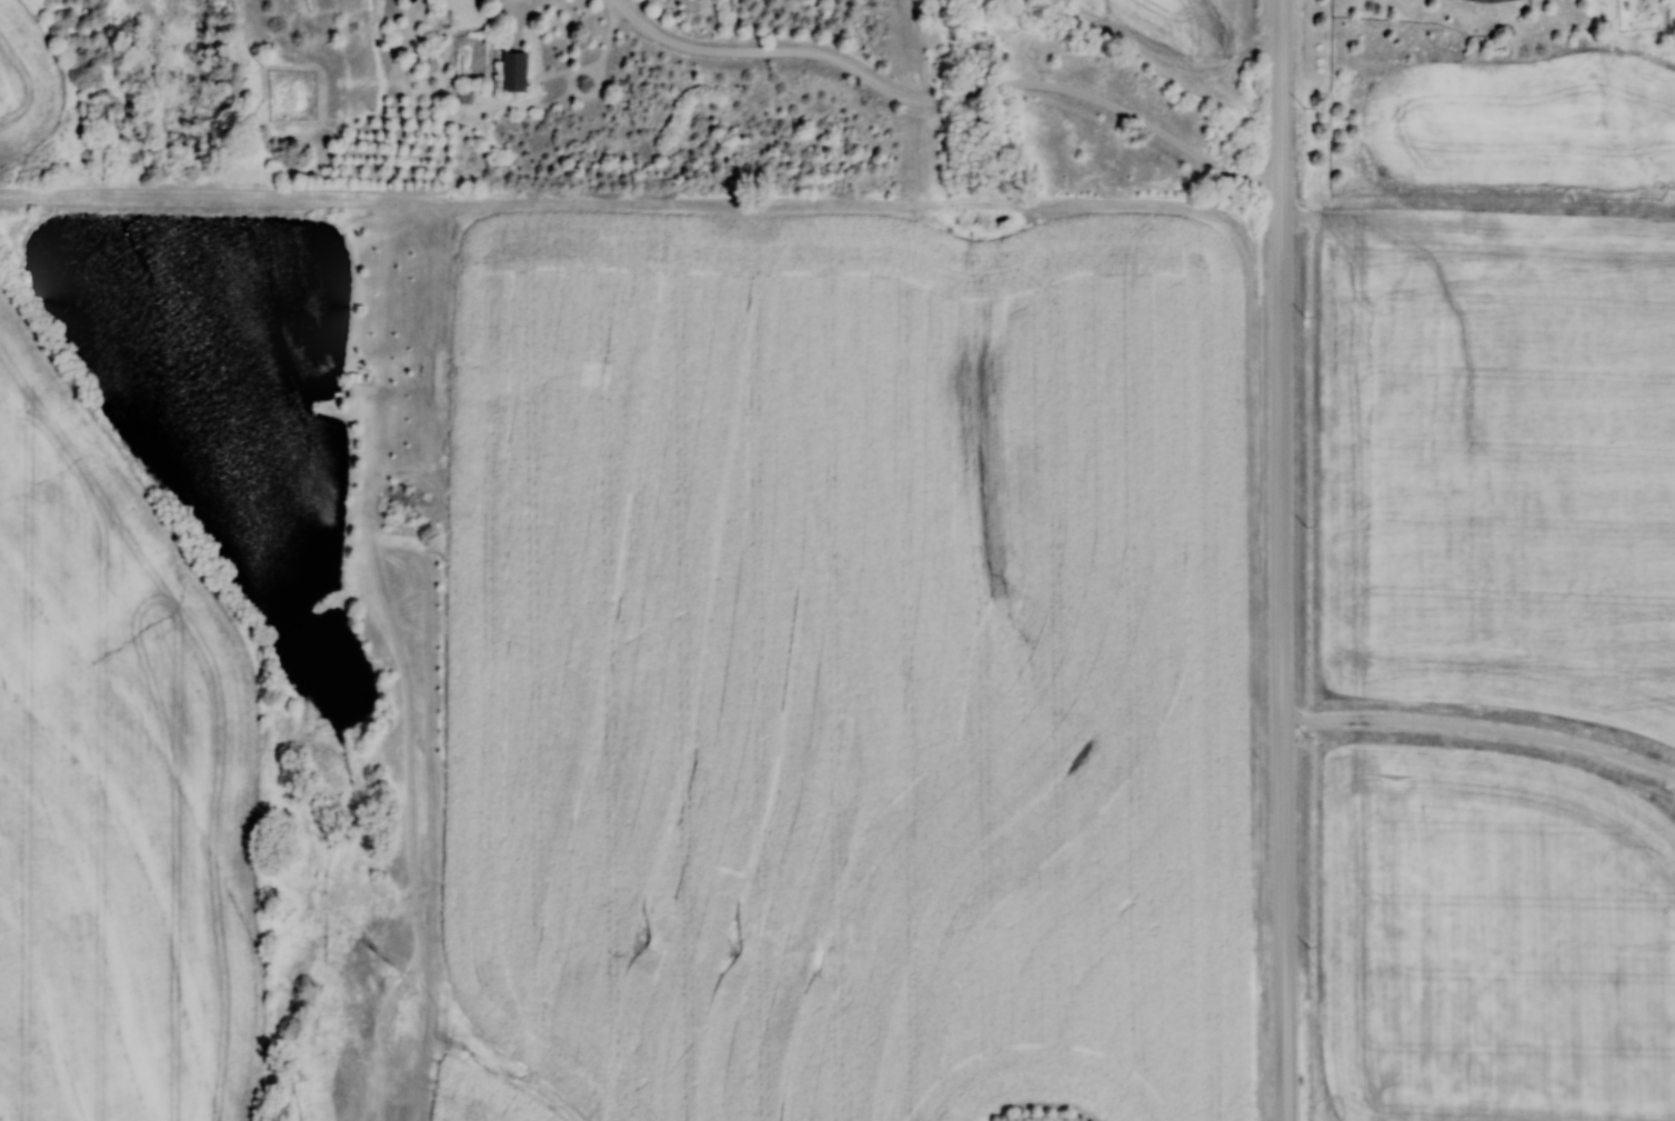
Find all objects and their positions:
building: (511, 71)
road: (949, 93)
dam: (195, 200)
road: (1283, 560)
road: (1483, 727)

